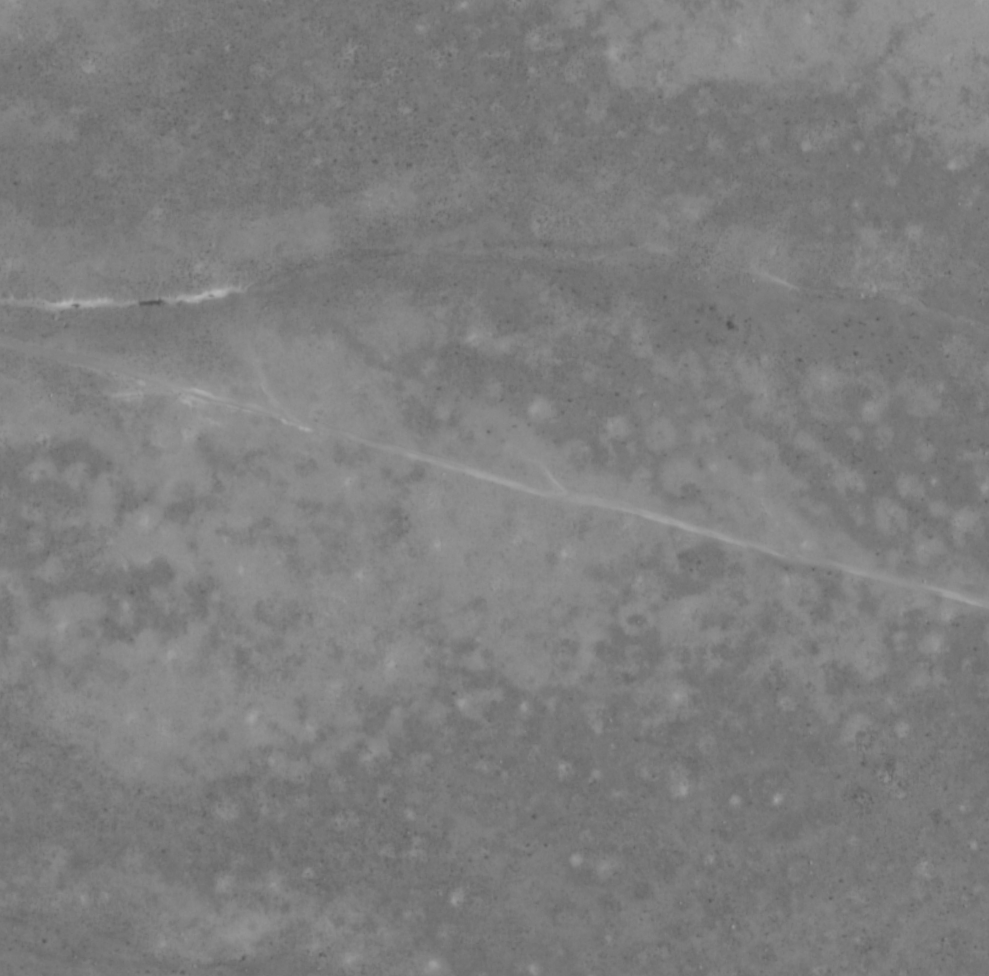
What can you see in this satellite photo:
road: (493, 477)

